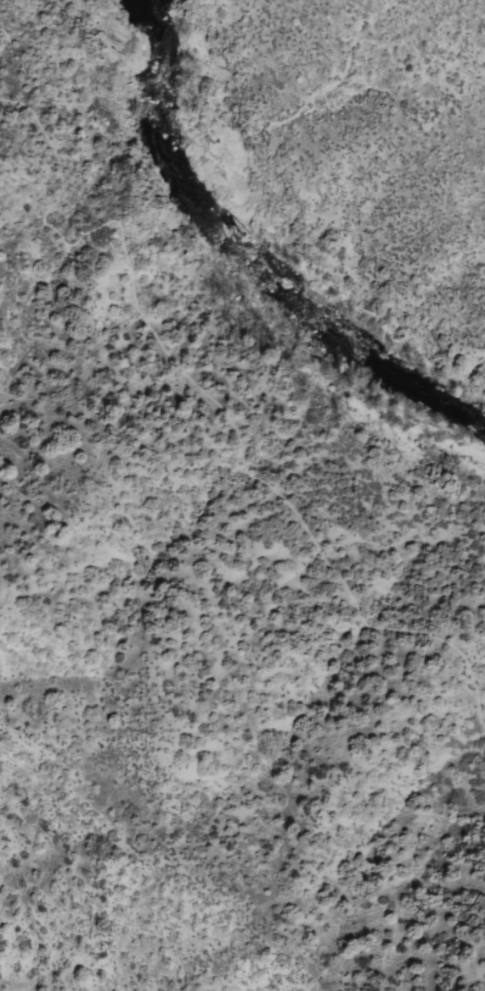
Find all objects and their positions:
road: (209, 400)

